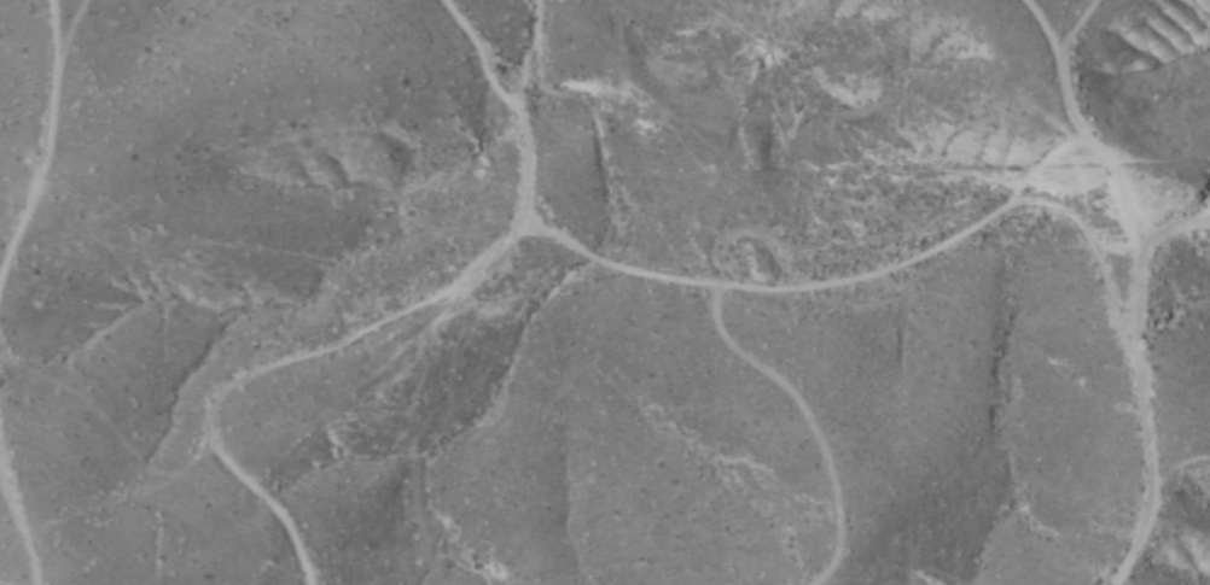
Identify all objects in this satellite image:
road: (801, 286)
road: (1084, 291)

